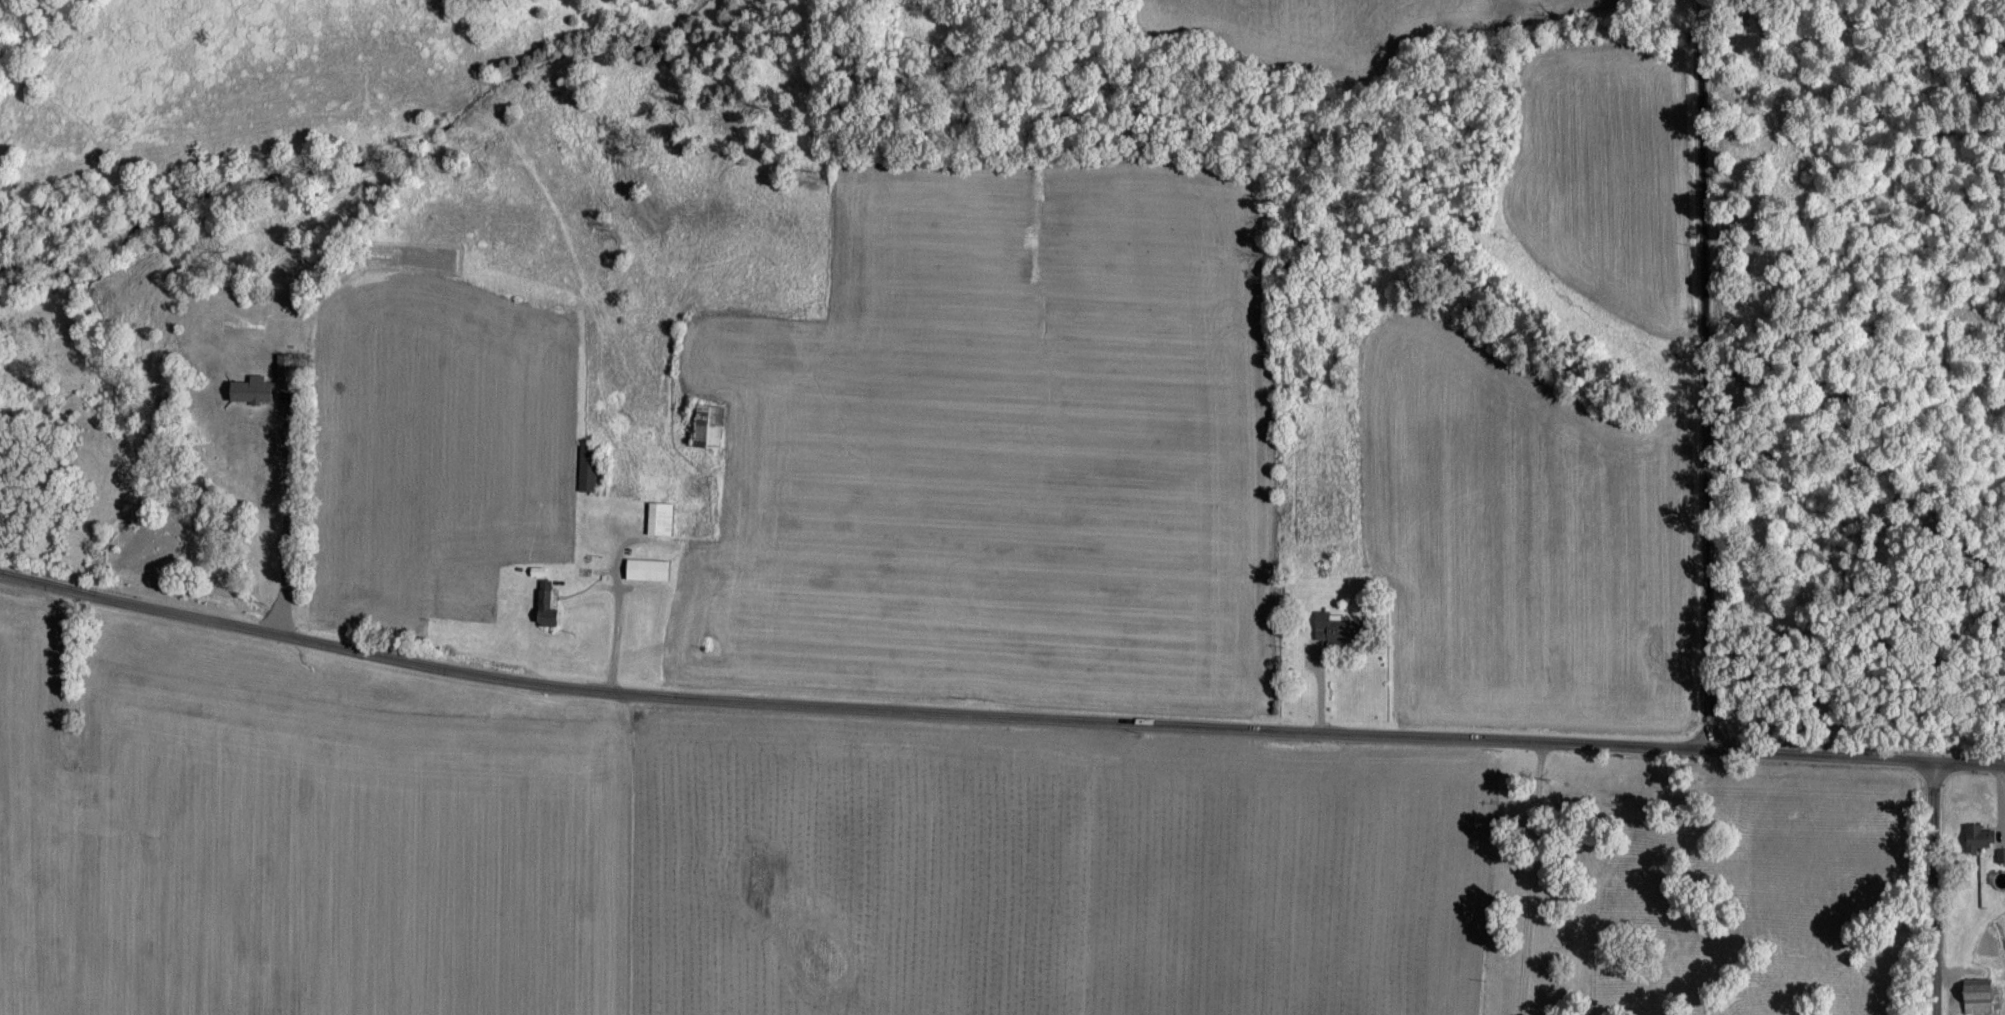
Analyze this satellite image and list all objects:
road: (1708, 375)
building: (709, 427)
building: (586, 472)
building: (659, 519)
building: (547, 605)
road: (624, 626)
building: (1331, 629)
road: (996, 716)
building: (1978, 838)
building: (2000, 856)
road: (1531, 877)
road: (1936, 888)
building: (1978, 997)

